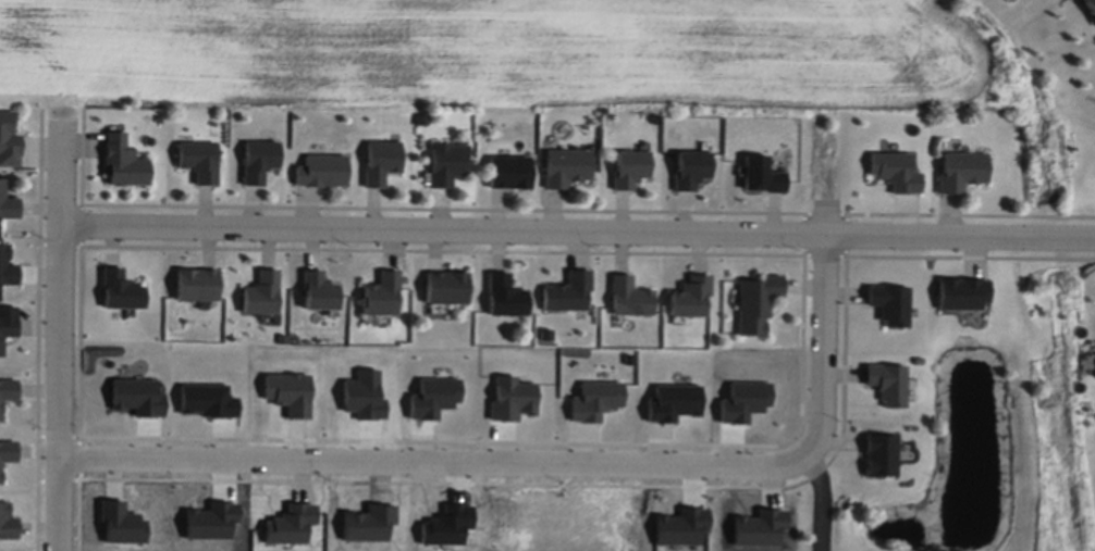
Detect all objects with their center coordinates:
building: (1091, 7)
crop: (499, 49)
building: (421, 115)
building: (9, 134)
building: (199, 154)
building: (259, 154)
building: (381, 155)
building: (123, 156)
building: (447, 158)
building: (567, 162)
building: (630, 163)
building: (691, 163)
building: (895, 164)
building: (961, 165)
building: (321, 166)
building: (509, 167)
building: (761, 167)
building: (8, 198)
road: (577, 234)
building: (8, 262)
building: (197, 279)
building: (446, 281)
building: (122, 285)
building: (319, 285)
building: (568, 287)
building: (262, 288)
building: (382, 289)
building: (506, 290)
building: (630, 291)
building: (691, 291)
building: (962, 295)
building: (756, 298)
road: (822, 302)
building: (889, 304)
building: (8, 321)
road: (62, 336)
building: (888, 385)
building: (8, 388)
building: (8, 449)
building: (879, 455)
road: (444, 460)
road: (819, 505)
building: (8, 517)

